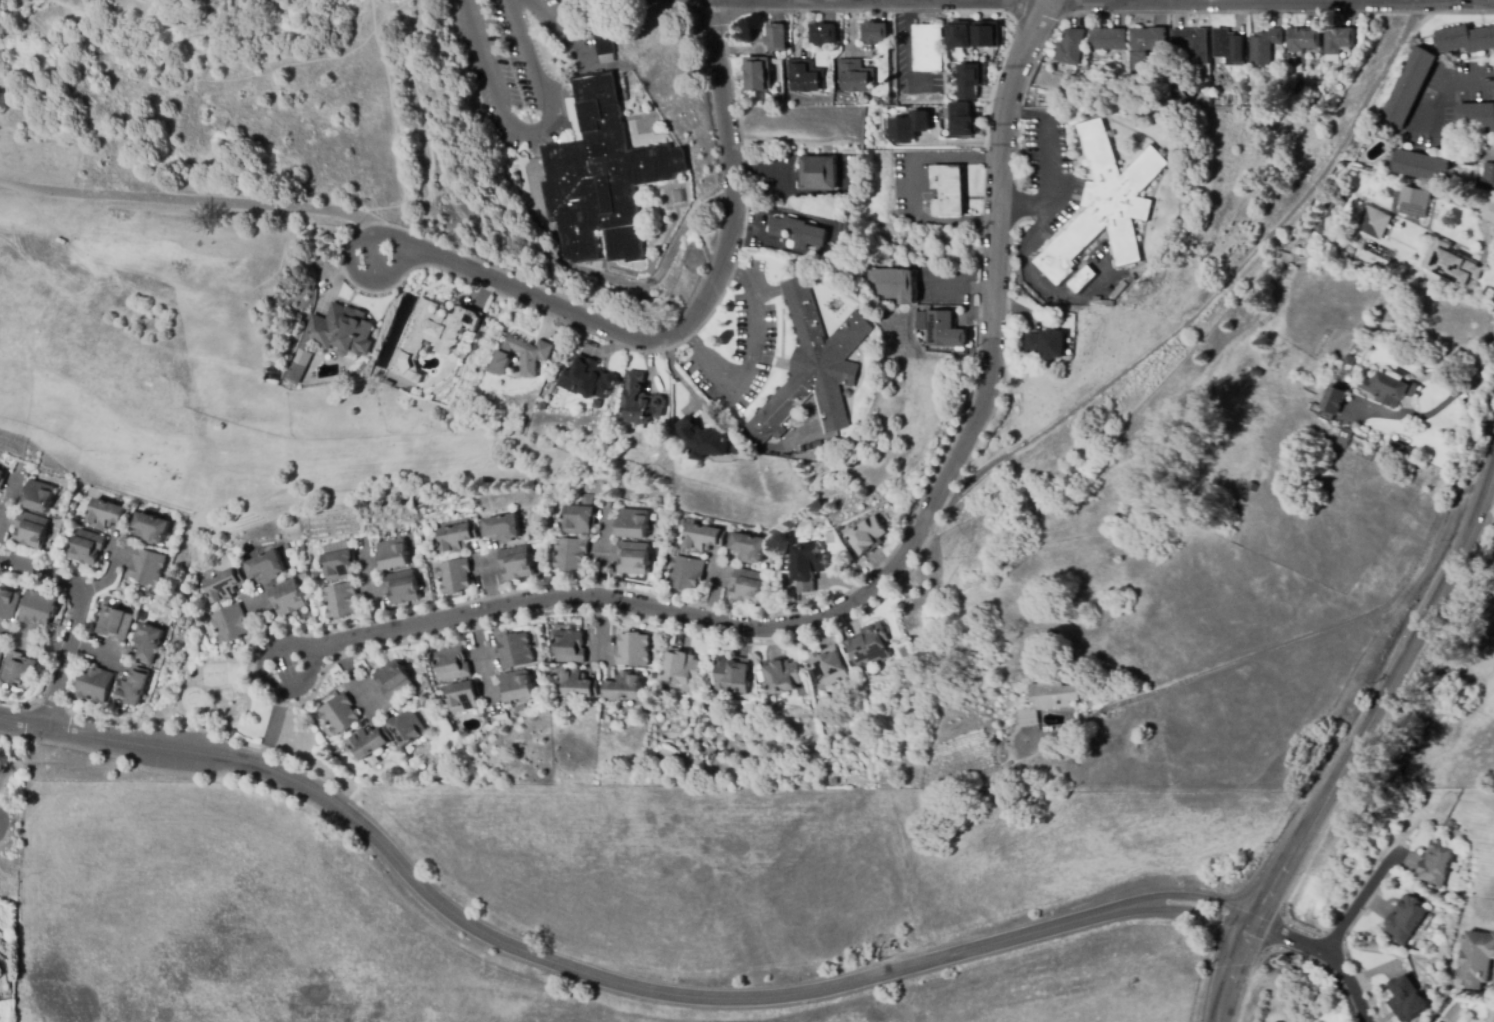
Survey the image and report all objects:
road: (1246, 0)
building: (564, 2)
road: (1454, 12)
building: (987, 32)
building: (875, 33)
building: (959, 33)
building: (823, 34)
building: (776, 37)
building: (1109, 39)
building: (1303, 39)
building: (1466, 39)
building: (1339, 40)
building: (1147, 44)
building: (1072, 47)
building: (1190, 47)
building: (1229, 47)
building: (1264, 47)
building: (606, 48)
building: (928, 48)
building: (620, 74)
building: (757, 76)
building: (804, 76)
building: (855, 76)
building: (971, 76)
road: (1443, 78)
building: (1410, 88)
building: (1244, 92)
building: (775, 98)
building: (1208, 102)
building: (1476, 115)
building: (963, 118)
building: (910, 125)
road: (530, 132)
building: (1470, 156)
building: (1422, 166)
building: (818, 173)
building: (599, 176)
building: (1488, 176)
road: (909, 189)
building: (946, 191)
road: (189, 200)
road: (1023, 202)
building: (1414, 202)
building: (1103, 204)
building: (1373, 222)
road: (1036, 227)
building: (798, 232)
road: (396, 246)
road: (861, 253)
building: (1455, 267)
building: (1080, 278)
building: (894, 285)
road: (1212, 287)
building: (1102, 303)
road: (693, 312)
building: (941, 329)
building: (430, 333)
building: (333, 338)
building: (1047, 344)
building: (535, 356)
building: (1350, 360)
road: (749, 362)
building: (812, 366)
building: (1248, 369)
building: (1257, 372)
building: (587, 379)
building: (1391, 388)
building: (642, 401)
building: (1335, 401)
road: (1438, 405)
building: (1347, 434)
building: (705, 439)
building: (828, 442)
building: (737, 449)
building: (2, 478)
building: (1252, 486)
building: (38, 496)
building: (583, 501)
building: (130, 503)
building: (107, 514)
building: (578, 520)
building: (181, 521)
building: (634, 524)
building: (149, 528)
building: (500, 528)
building: (32, 529)
building: (867, 535)
building: (456, 537)
building: (703, 538)
building: (87, 547)
building: (747, 547)
building: (570, 554)
building: (392, 555)
building: (634, 558)
building: (517, 563)
building: (338, 565)
building: (148, 566)
building: (807, 566)
building: (264, 567)
road: (891, 571)
building: (686, 573)
building: (302, 575)
building: (454, 577)
building: (222, 585)
building: (748, 586)
building: (403, 587)
building: (314, 591)
building: (287, 597)
building: (340, 601)
building: (8, 604)
building: (38, 609)
road: (72, 617)
building: (115, 624)
building: (230, 624)
road: (1332, 629)
building: (147, 643)
building: (569, 646)
building: (869, 647)
building: (515, 650)
building: (633, 650)
building: (1, 652)
road: (313, 664)
building: (453, 664)
building: (680, 667)
building: (827, 668)
building: (19, 670)
building: (731, 675)
building: (782, 676)
building: (394, 680)
building: (96, 684)
building: (575, 684)
building: (134, 687)
building: (517, 687)
building: (622, 687)
building: (421, 688)
building: (463, 696)
building: (1049, 700)
road: (1373, 700)
building: (518, 709)
building: (340, 714)
building: (407, 727)
road: (271, 729)
building: (370, 742)
building: (598, 784)
building: (1434, 865)
road: (1360, 901)
building: (1405, 919)
road: (1325, 950)
building: (1476, 958)
road: (1229, 970)
road: (597, 976)
building: (1405, 999)

